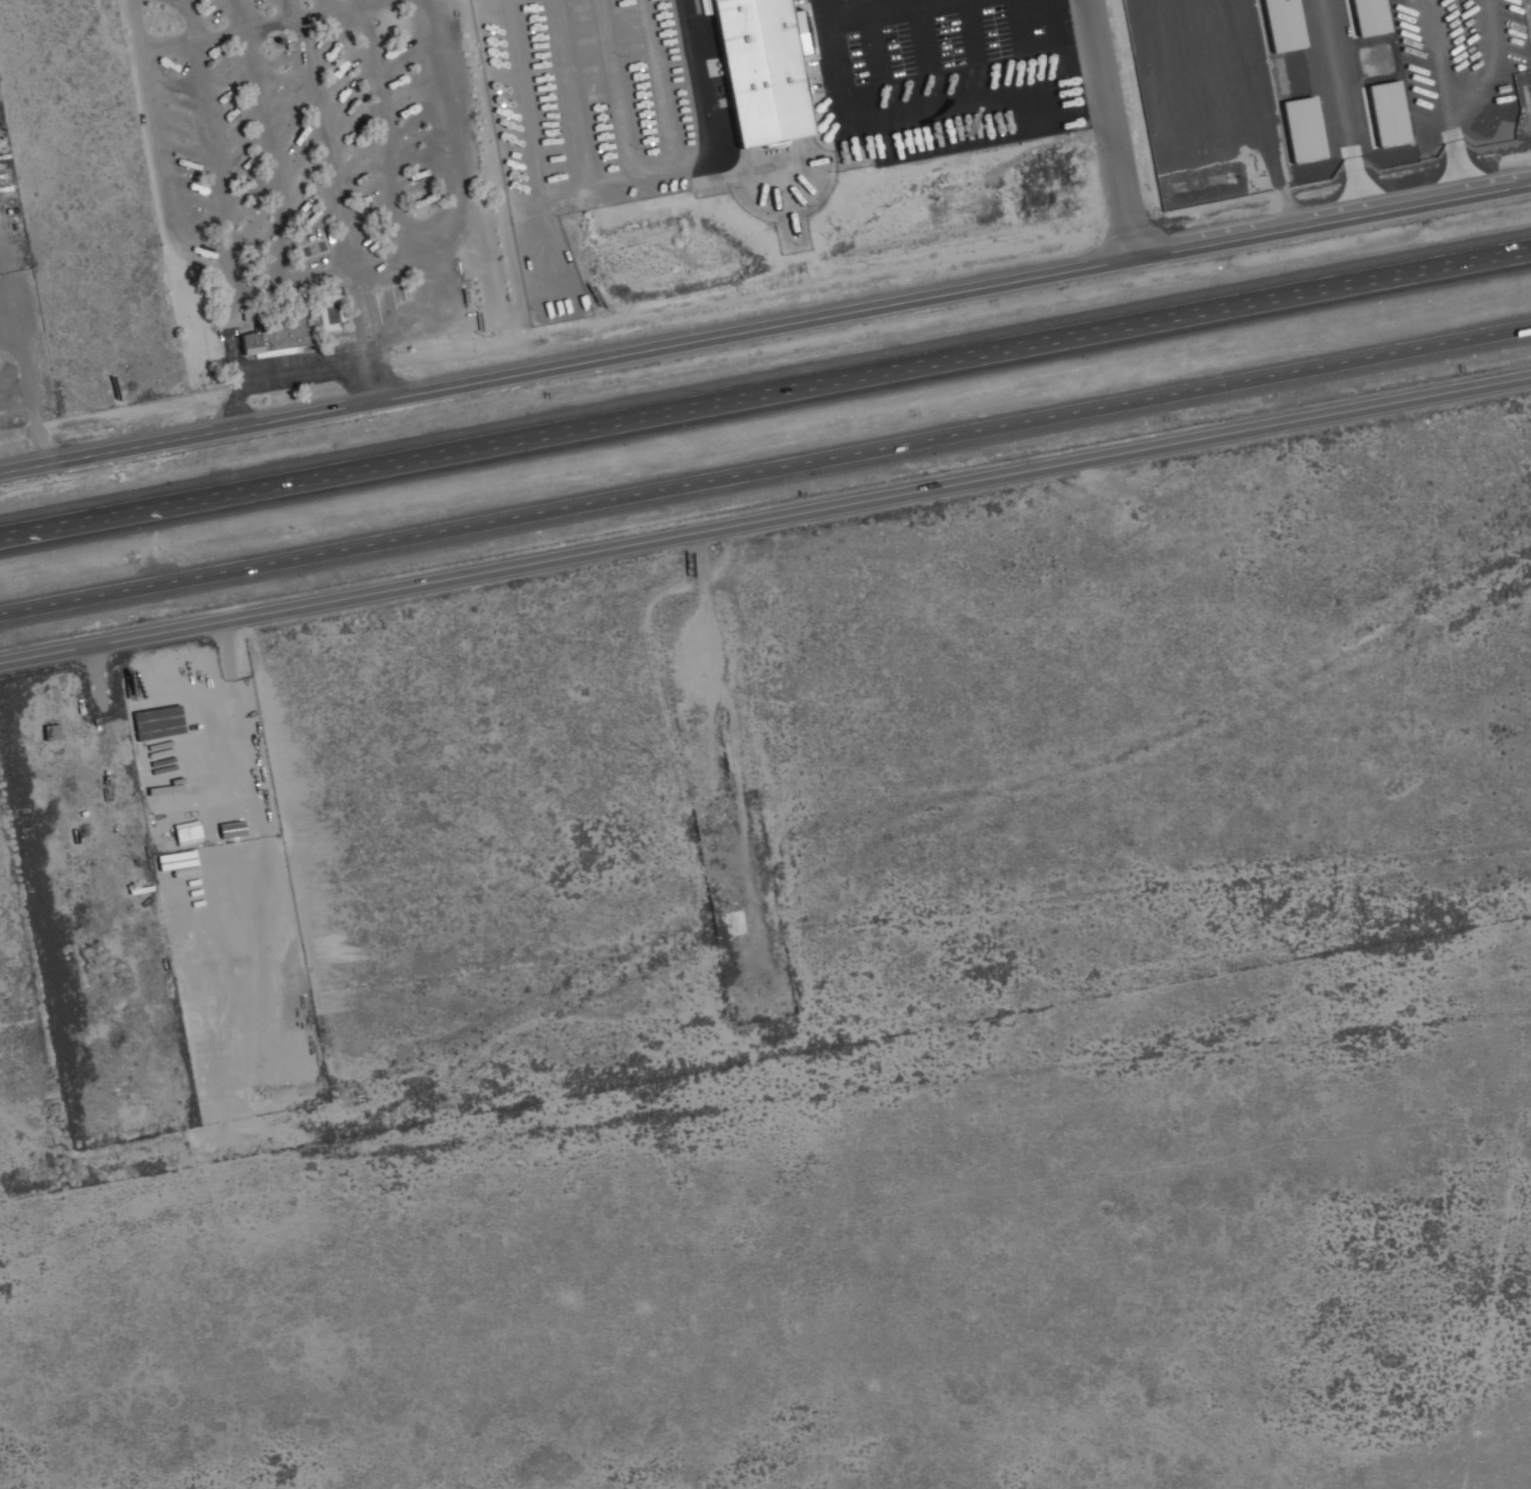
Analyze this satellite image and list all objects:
building: (1367, 17)
building: (1280, 25)
building: (1231, 68)
building: (760, 70)
parking lot: (1468, 71)
building: (1156, 75)
road: (691, 78)
road: (1268, 90)
building: (1385, 114)
road: (1109, 126)
building: (1299, 130)
flagpole: (943, 137)
road: (1289, 200)
road: (889, 299)
building: (331, 313)
road: (1075, 331)
road: (369, 335)
building: (279, 337)
road: (27, 369)
road: (287, 377)
road: (123, 447)
road: (765, 468)
road: (309, 474)
road: (764, 514)
building: (50, 733)
building: (723, 919)

